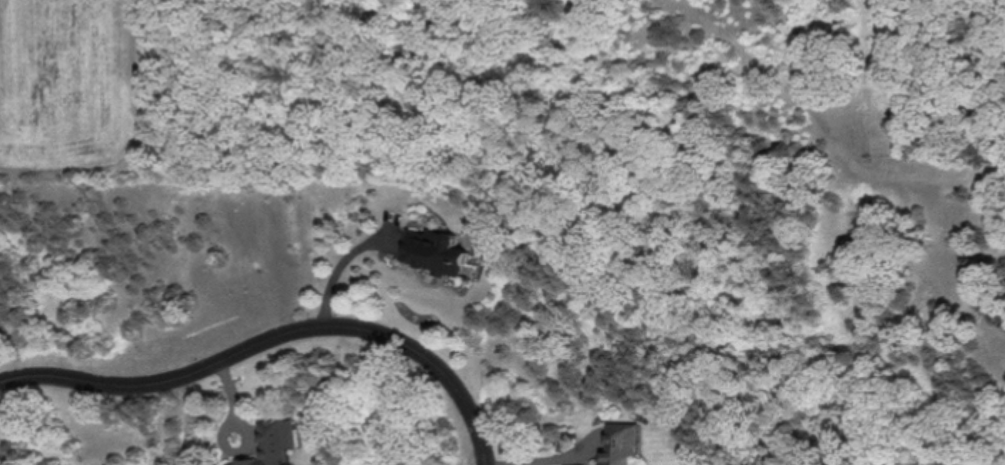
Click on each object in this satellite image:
building: (436, 251)
road: (339, 272)
road: (275, 345)
building: (277, 443)
building: (626, 443)
road: (560, 458)

